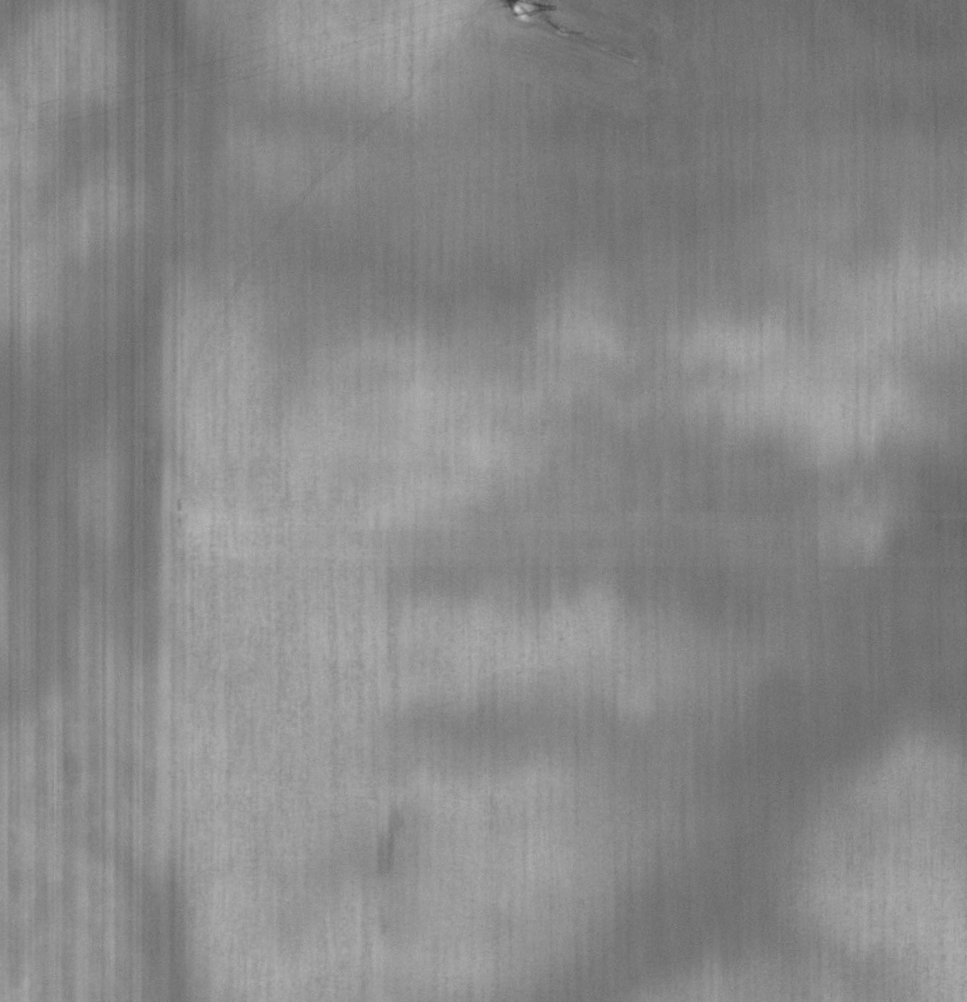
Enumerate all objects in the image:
power tower: (520, 9)

